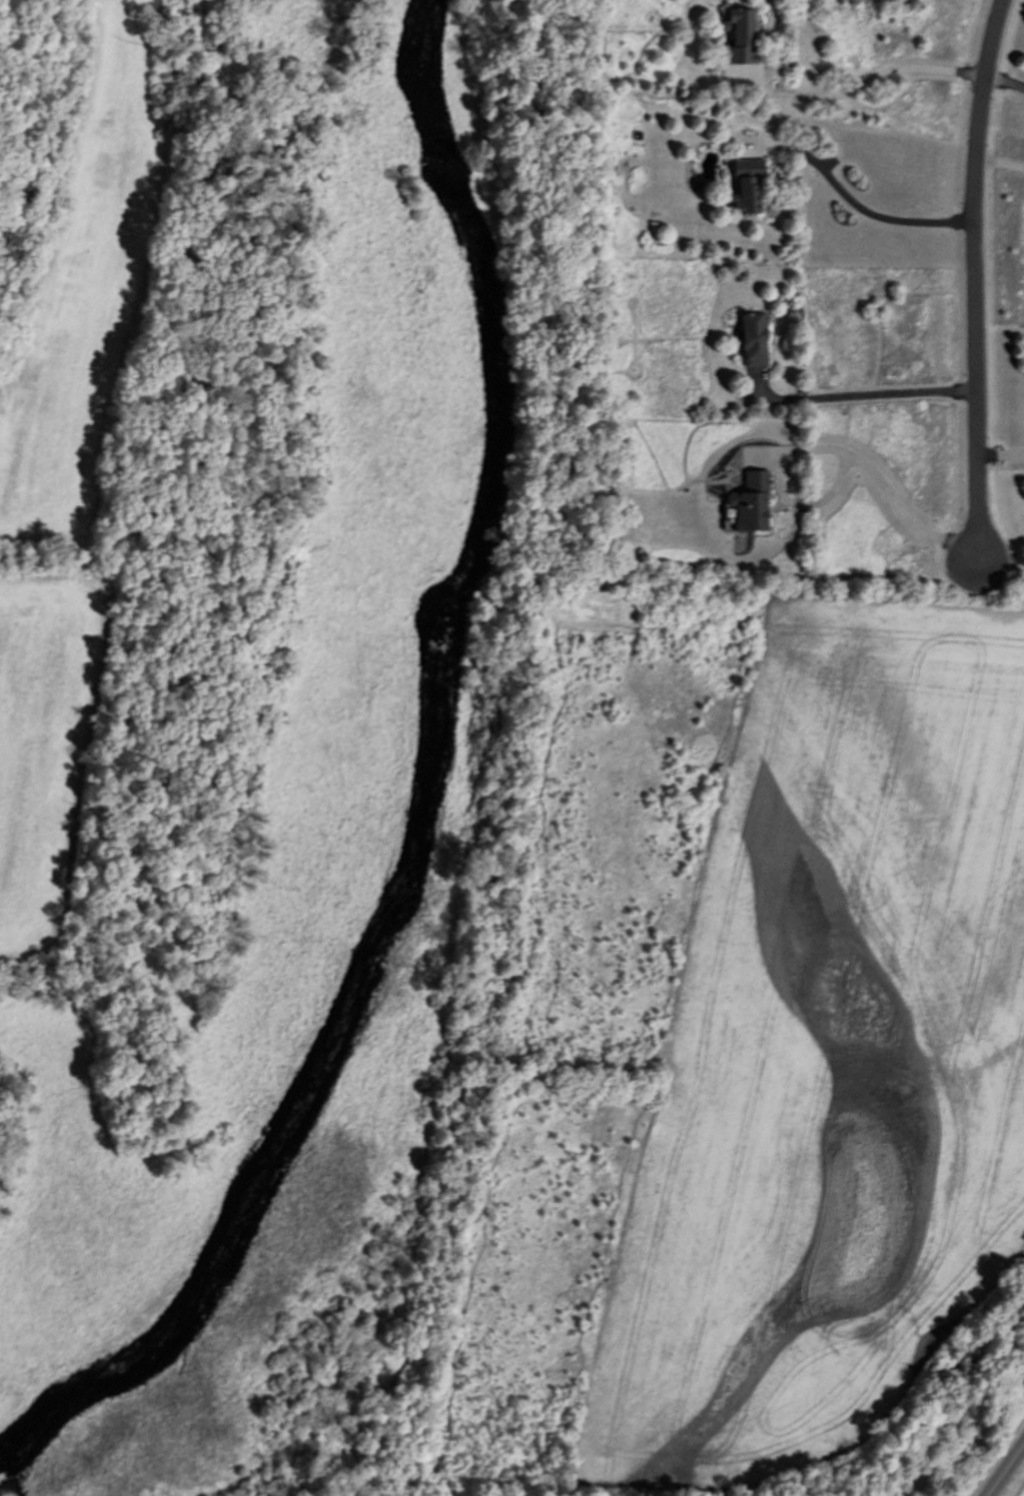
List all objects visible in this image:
building: (742, 33)
road: (875, 75)
road: (1005, 81)
road: (1000, 162)
building: (745, 186)
road: (867, 212)
road: (974, 283)
building: (752, 340)
road: (866, 403)
road: (1001, 454)
building: (747, 501)
road: (894, 503)
road: (1001, 565)
road: (497, 753)
river: (422, 798)
road: (1006, 1470)
crop: (1021, 1491)

